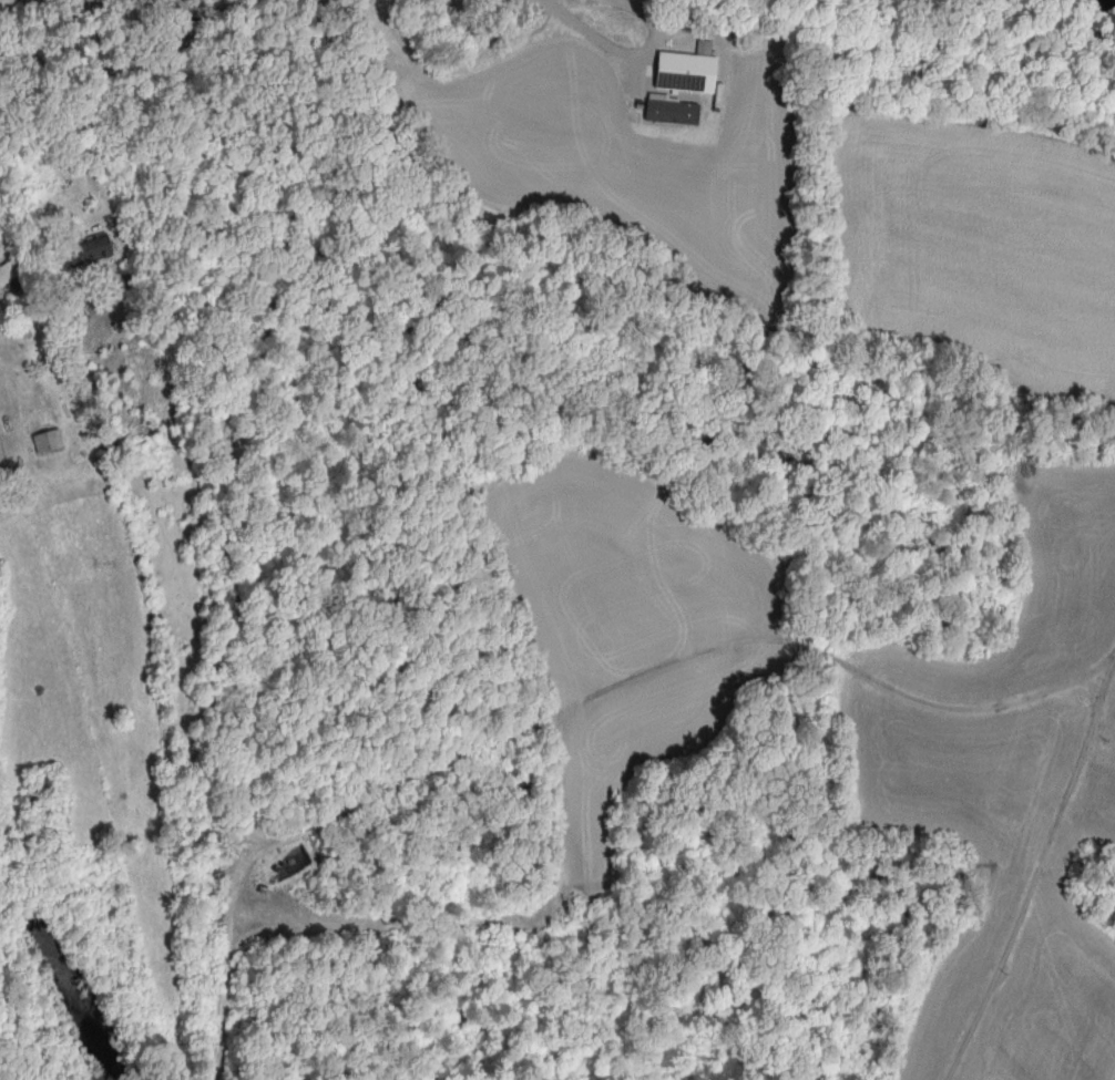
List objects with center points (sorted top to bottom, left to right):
road: (625, 49)
building: (689, 73)
road: (79, 93)
building: (86, 251)
building: (10, 274)
building: (52, 442)
road: (684, 655)
road: (1037, 873)

